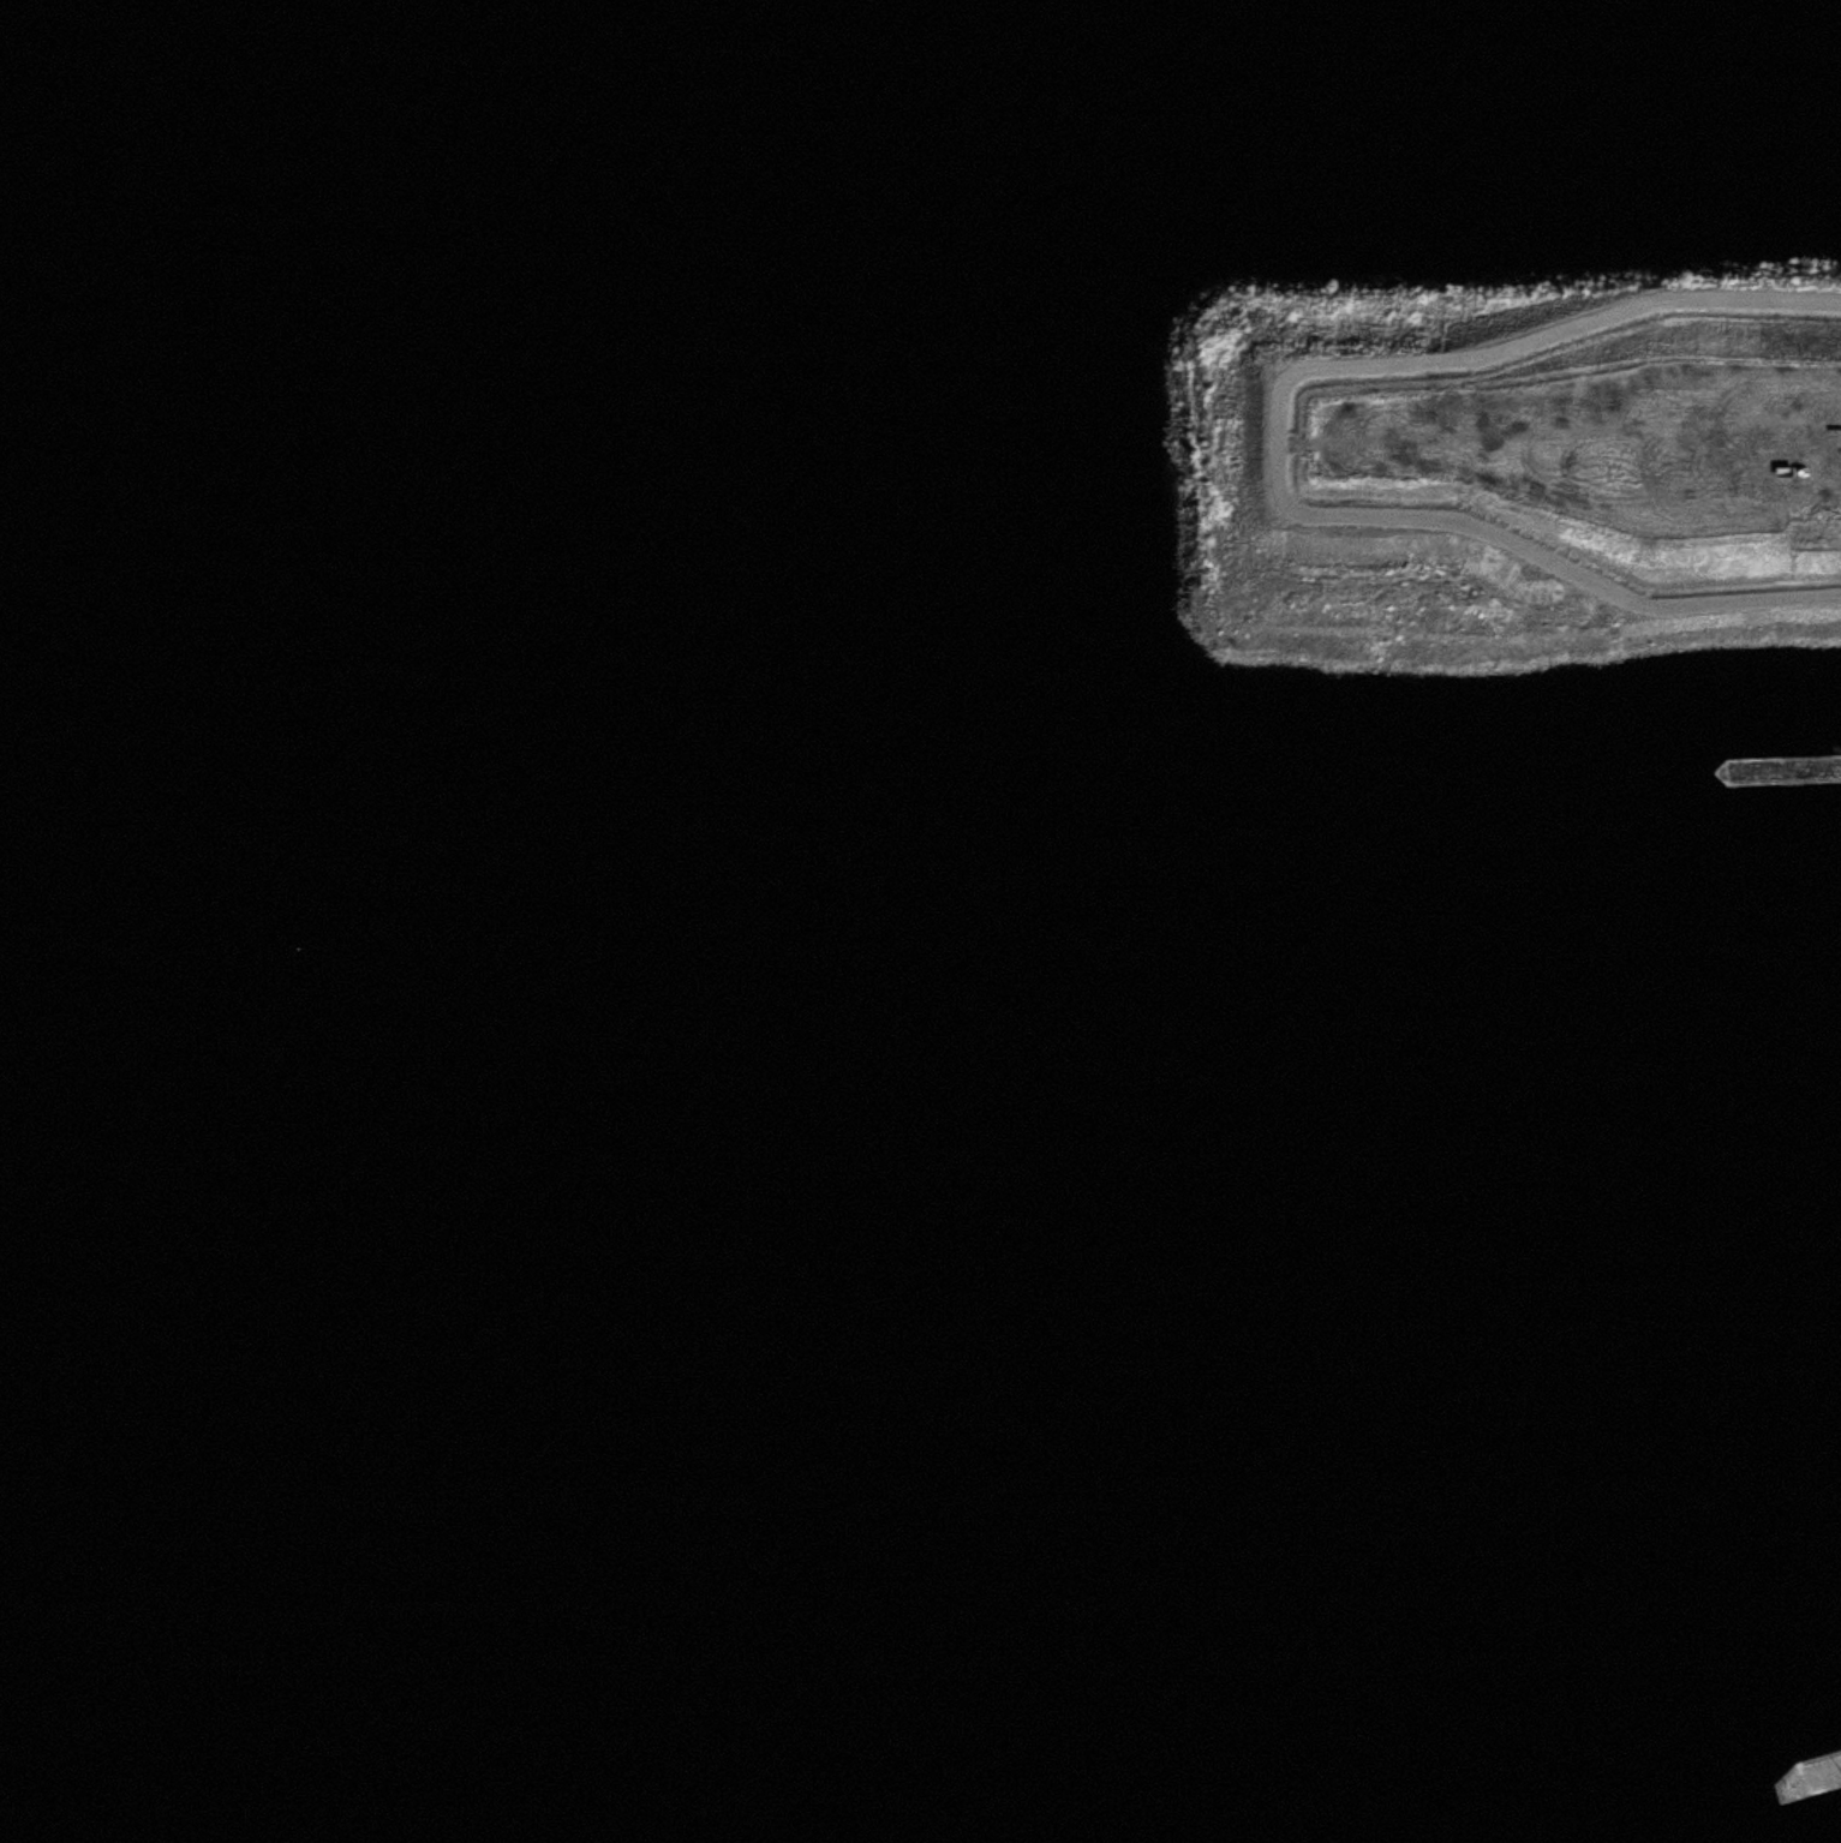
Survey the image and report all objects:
river: (920, 1521)

